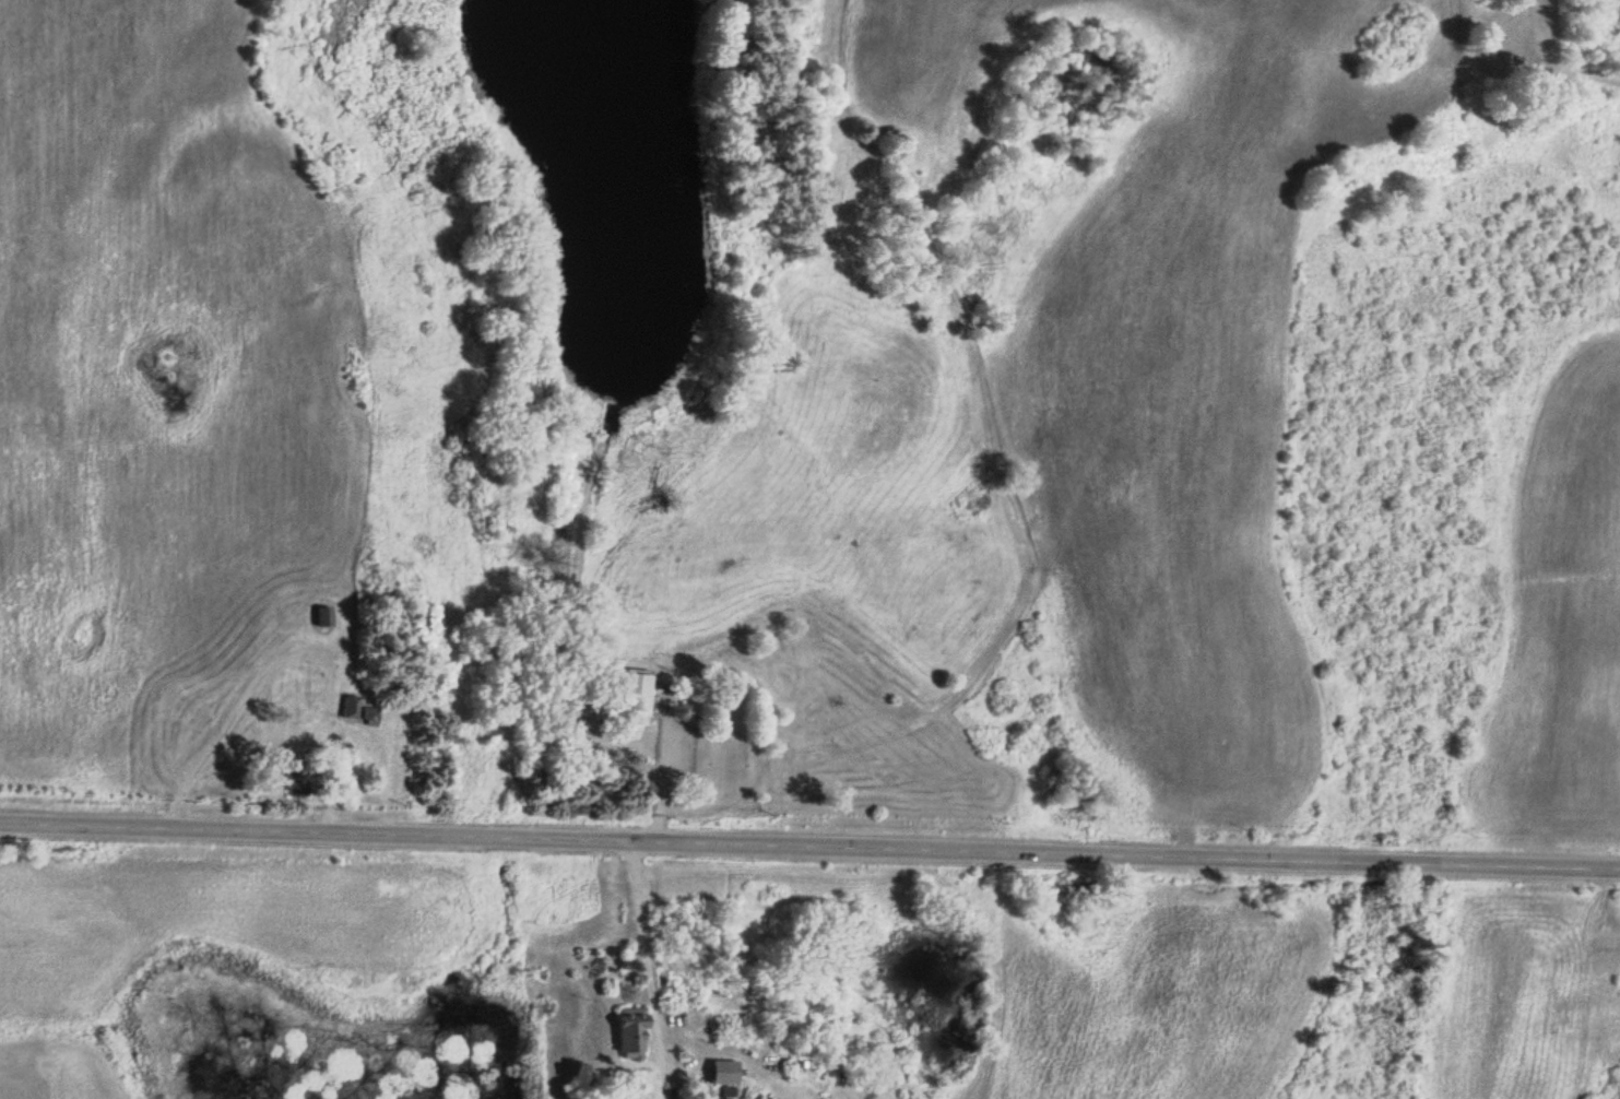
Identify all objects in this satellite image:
building: (316, 615)
building: (620, 695)
building: (341, 706)
building: (365, 713)
road: (809, 841)
building: (622, 1032)
building: (722, 1092)

